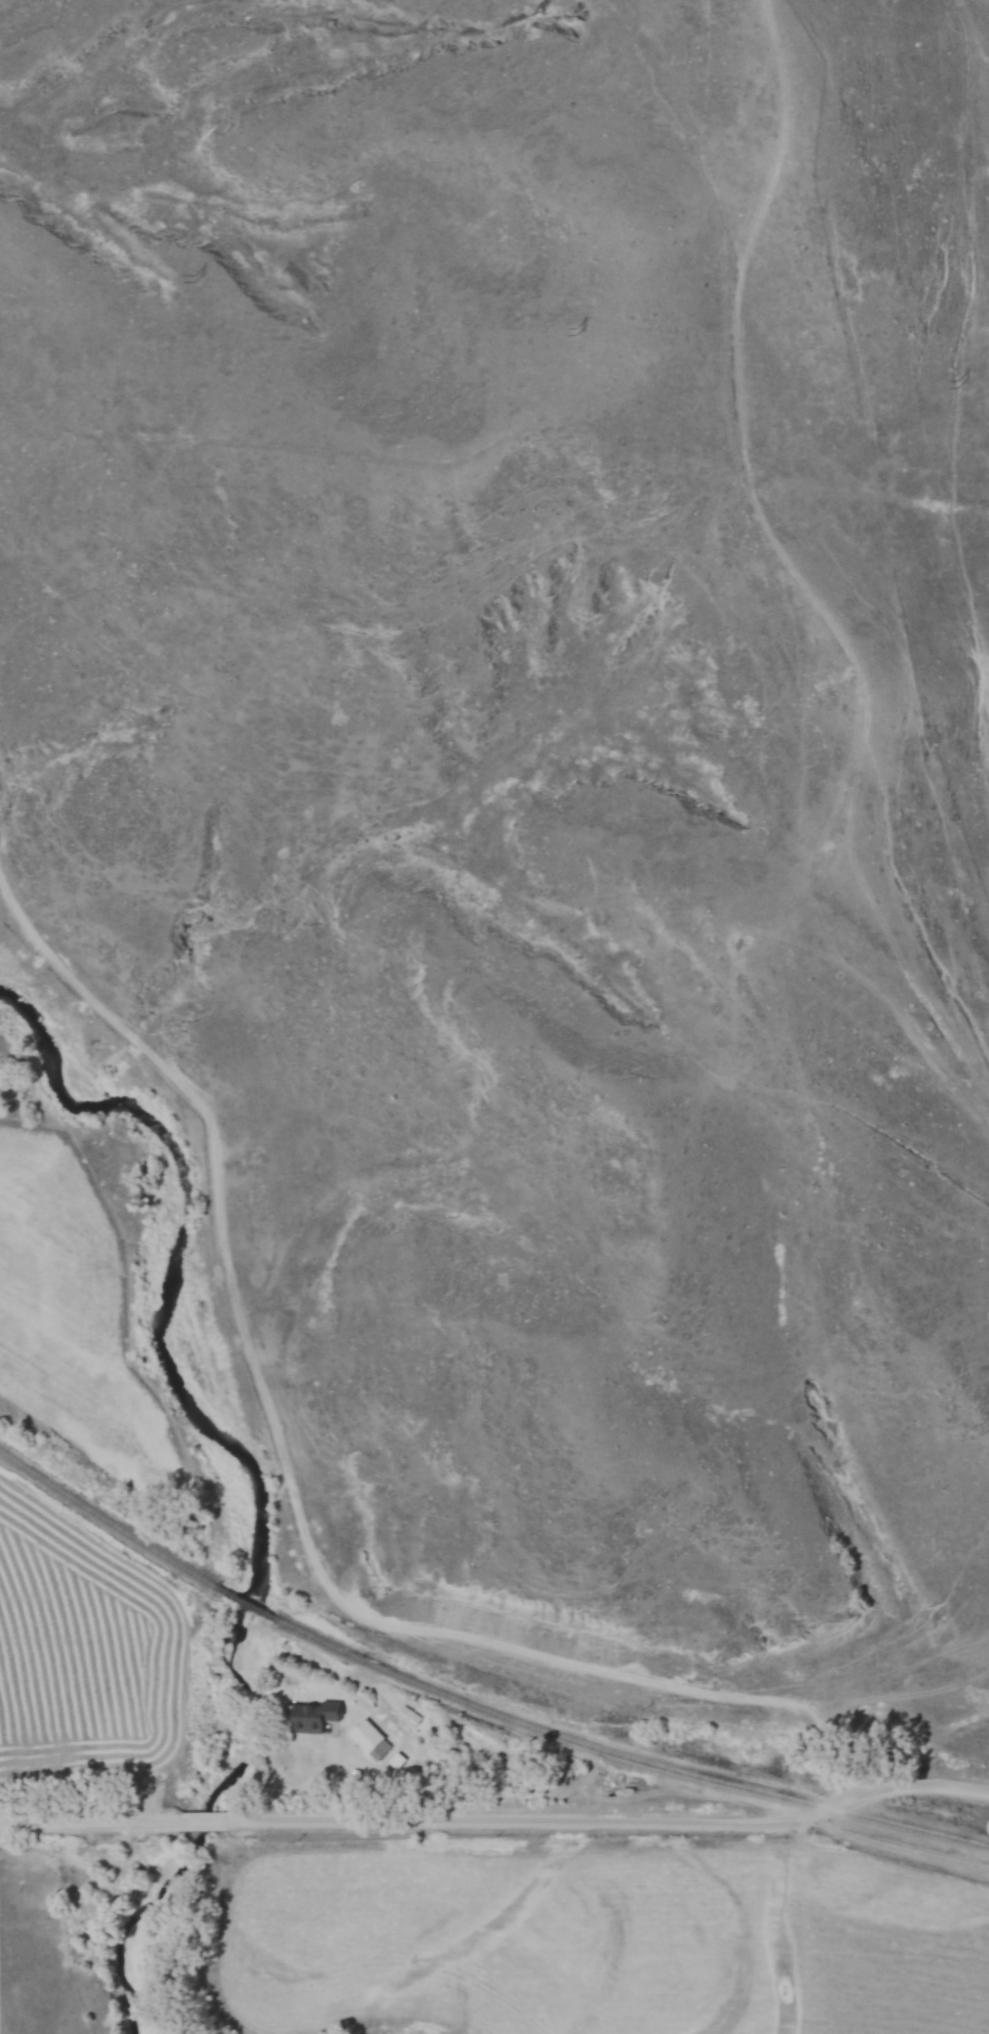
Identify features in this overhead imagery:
crop: (72, 1311)
railway: (108, 1520)
railway: (245, 1604)
crop: (83, 1654)
building: (313, 1717)
building: (365, 1736)
building: (392, 1755)
railway: (623, 1755)
road: (90, 1825)
road: (204, 1825)
road: (611, 1825)

